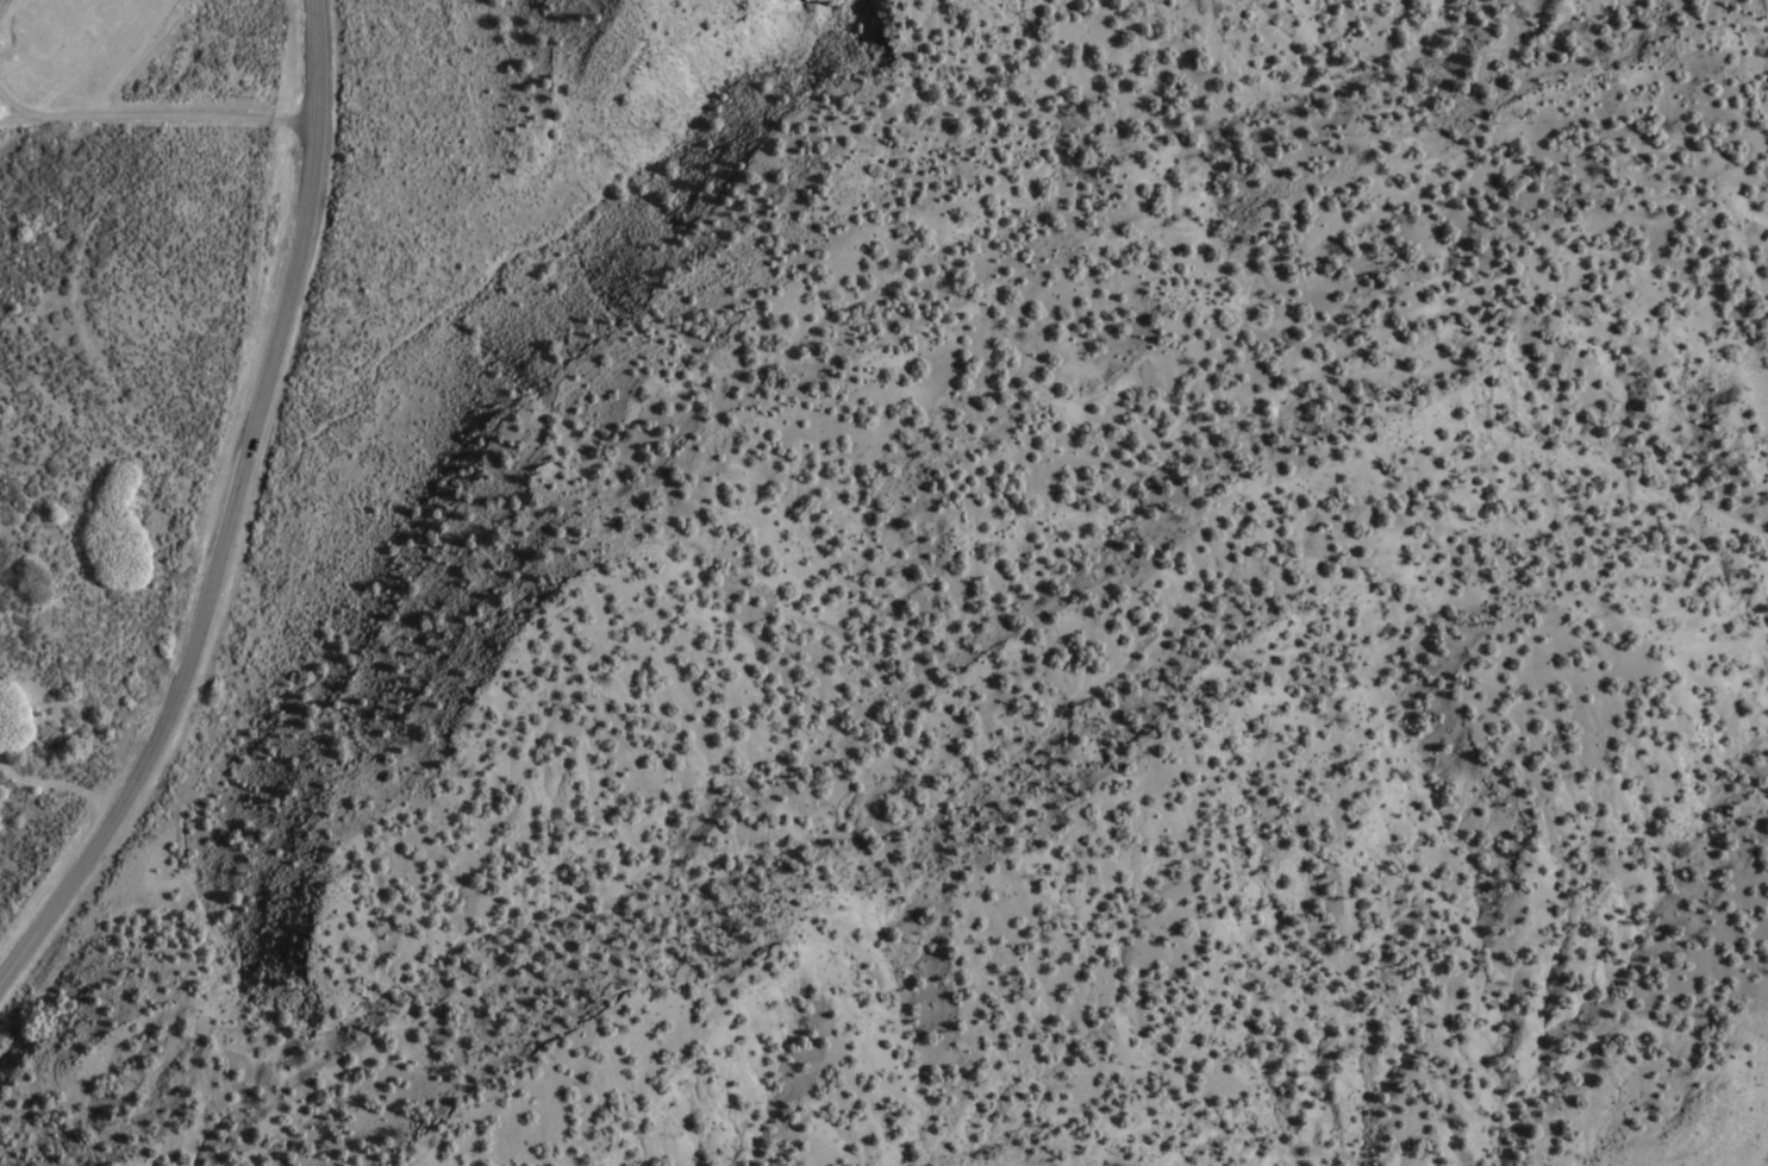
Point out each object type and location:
road: (494, 234)
road: (233, 516)

